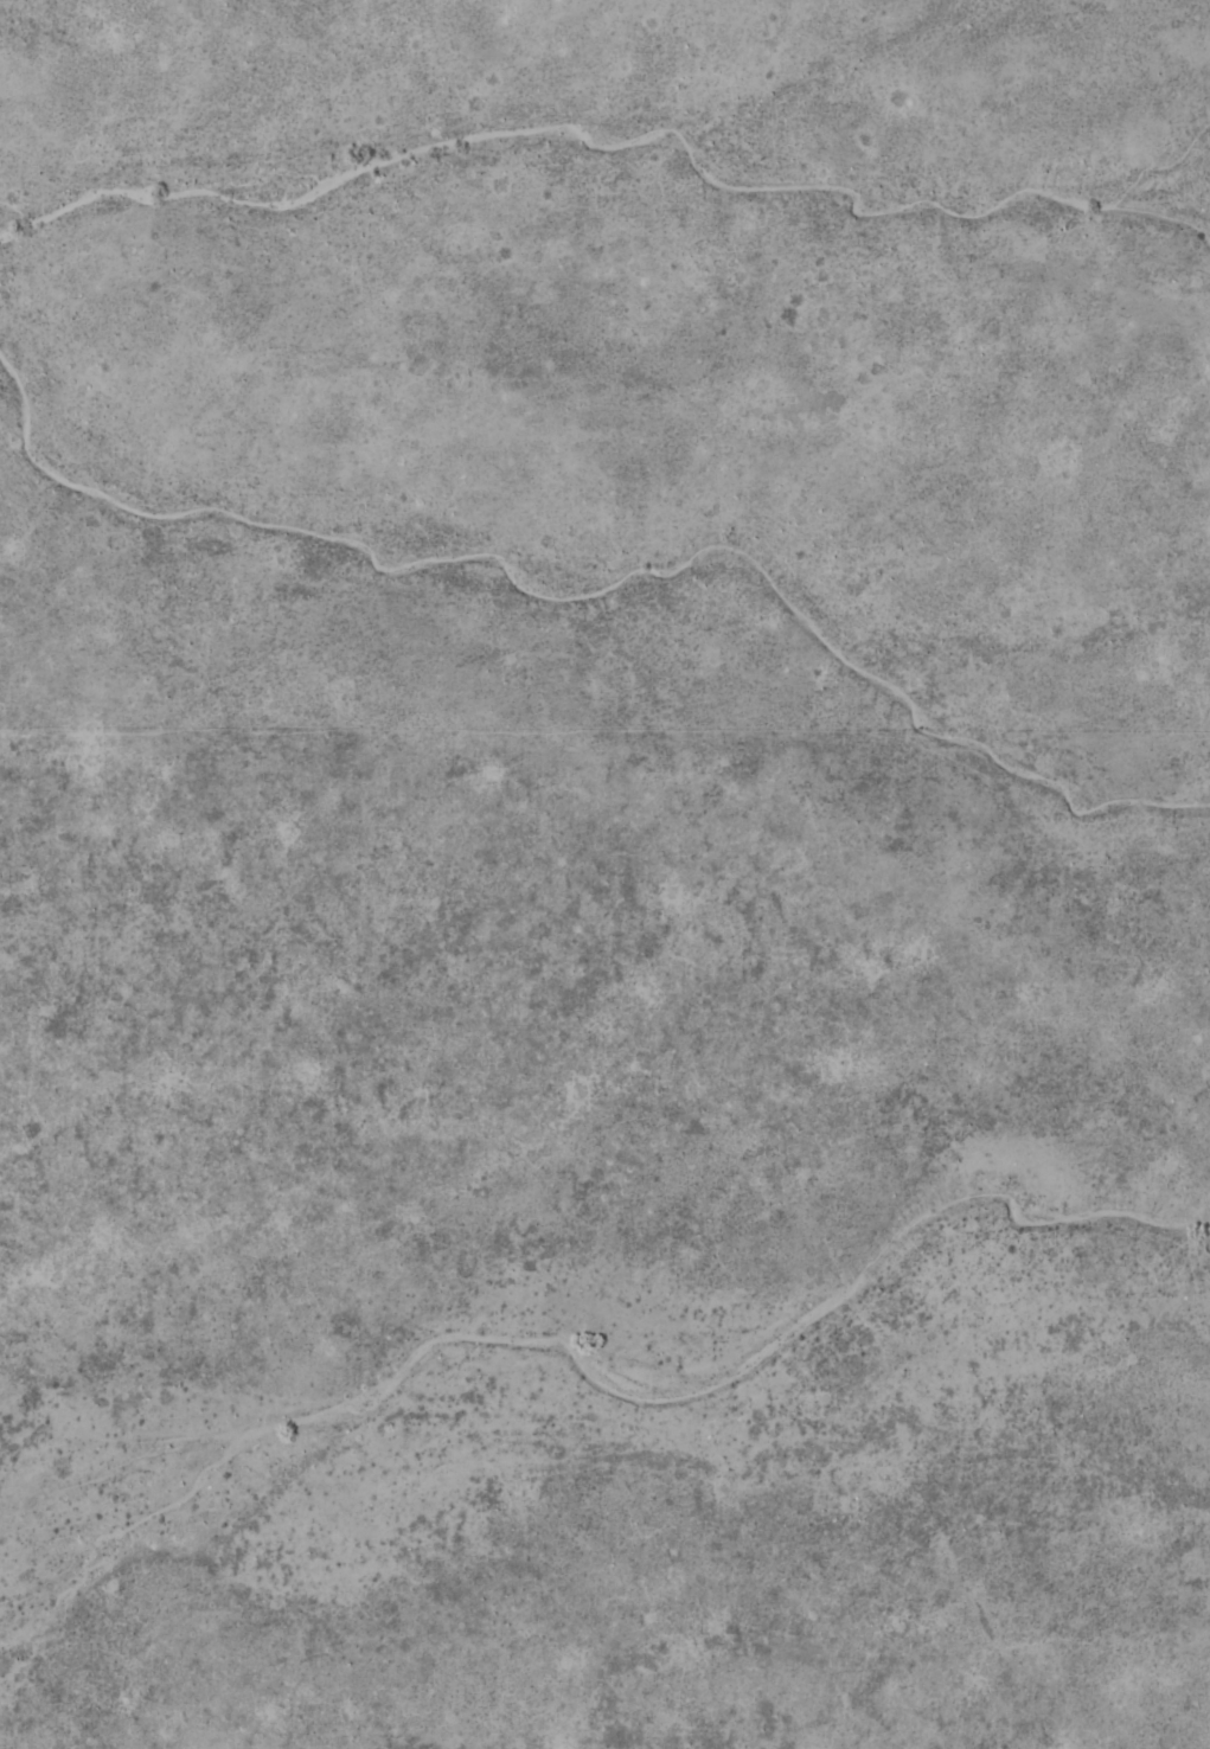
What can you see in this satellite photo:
road: (804, 1687)

